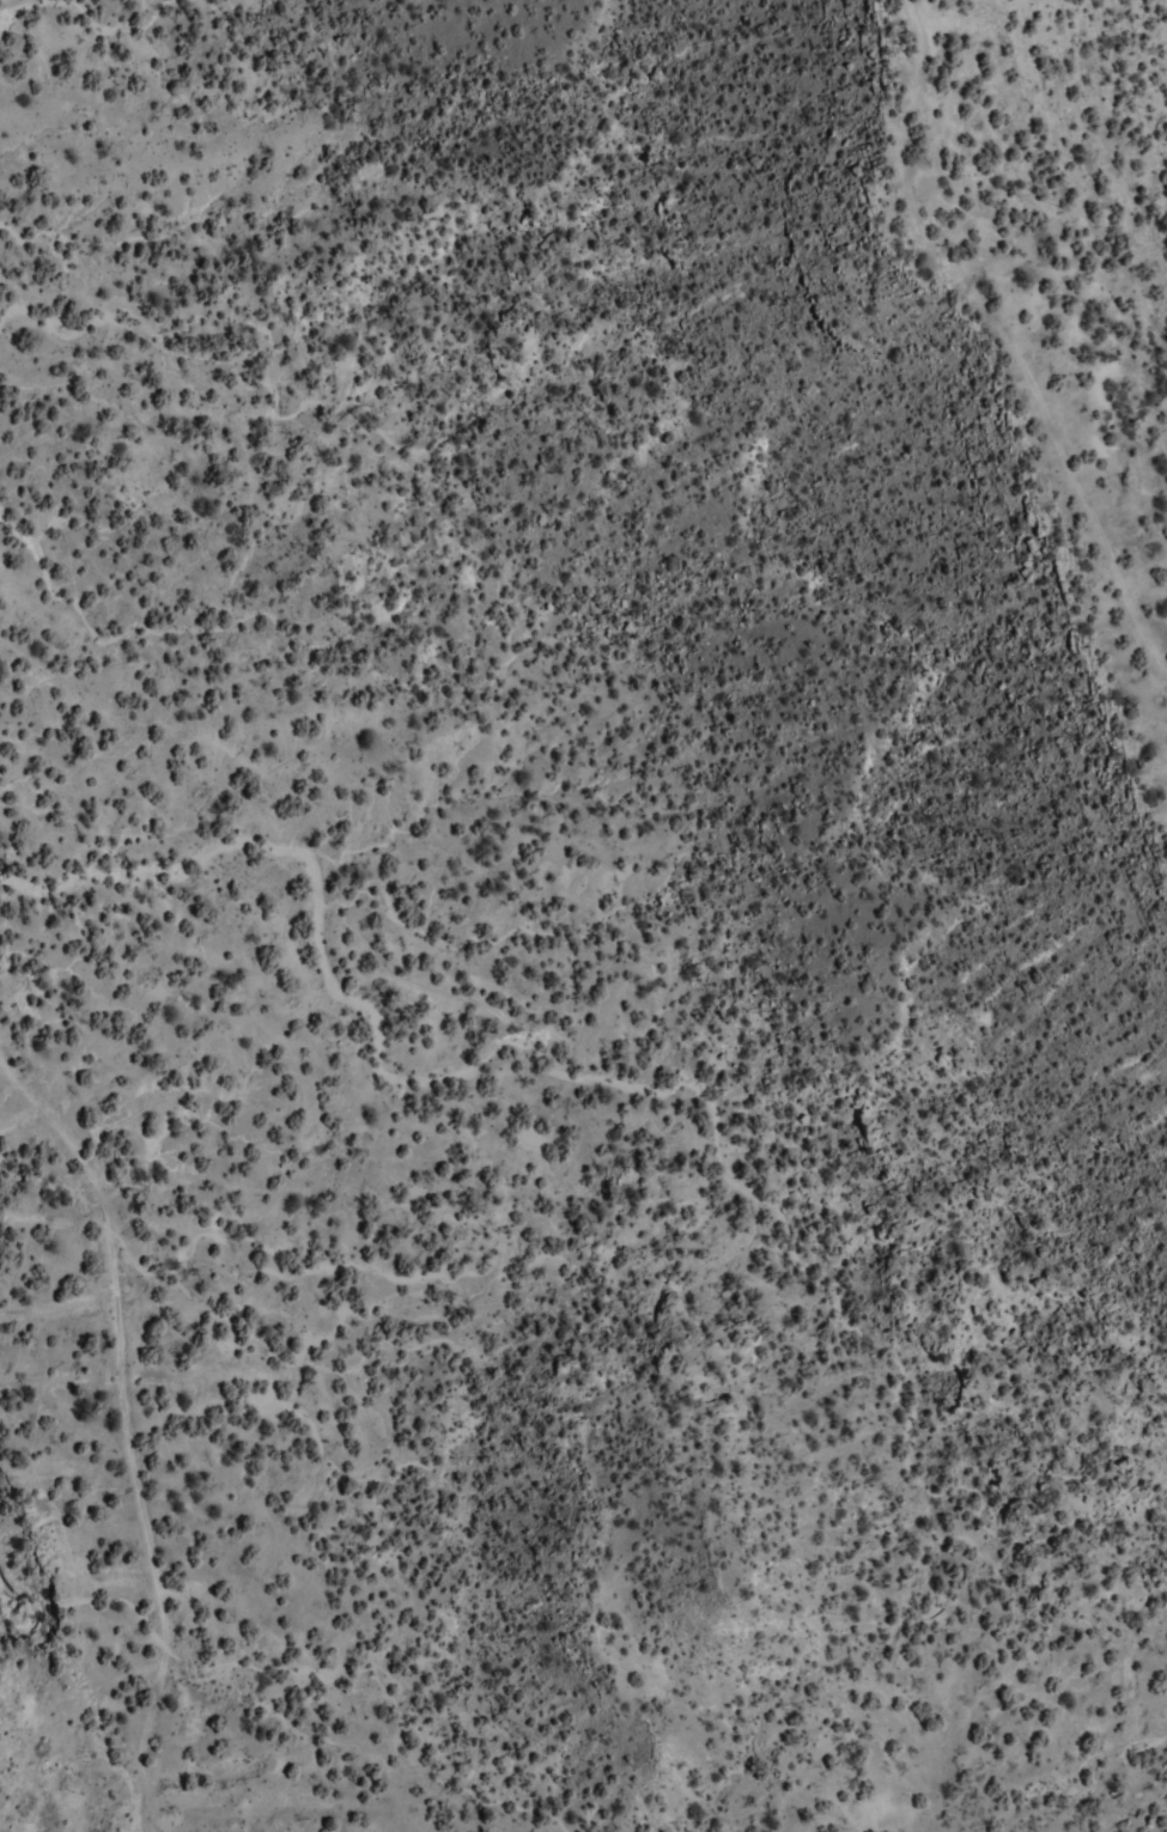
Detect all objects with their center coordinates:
road: (1004, 336)

